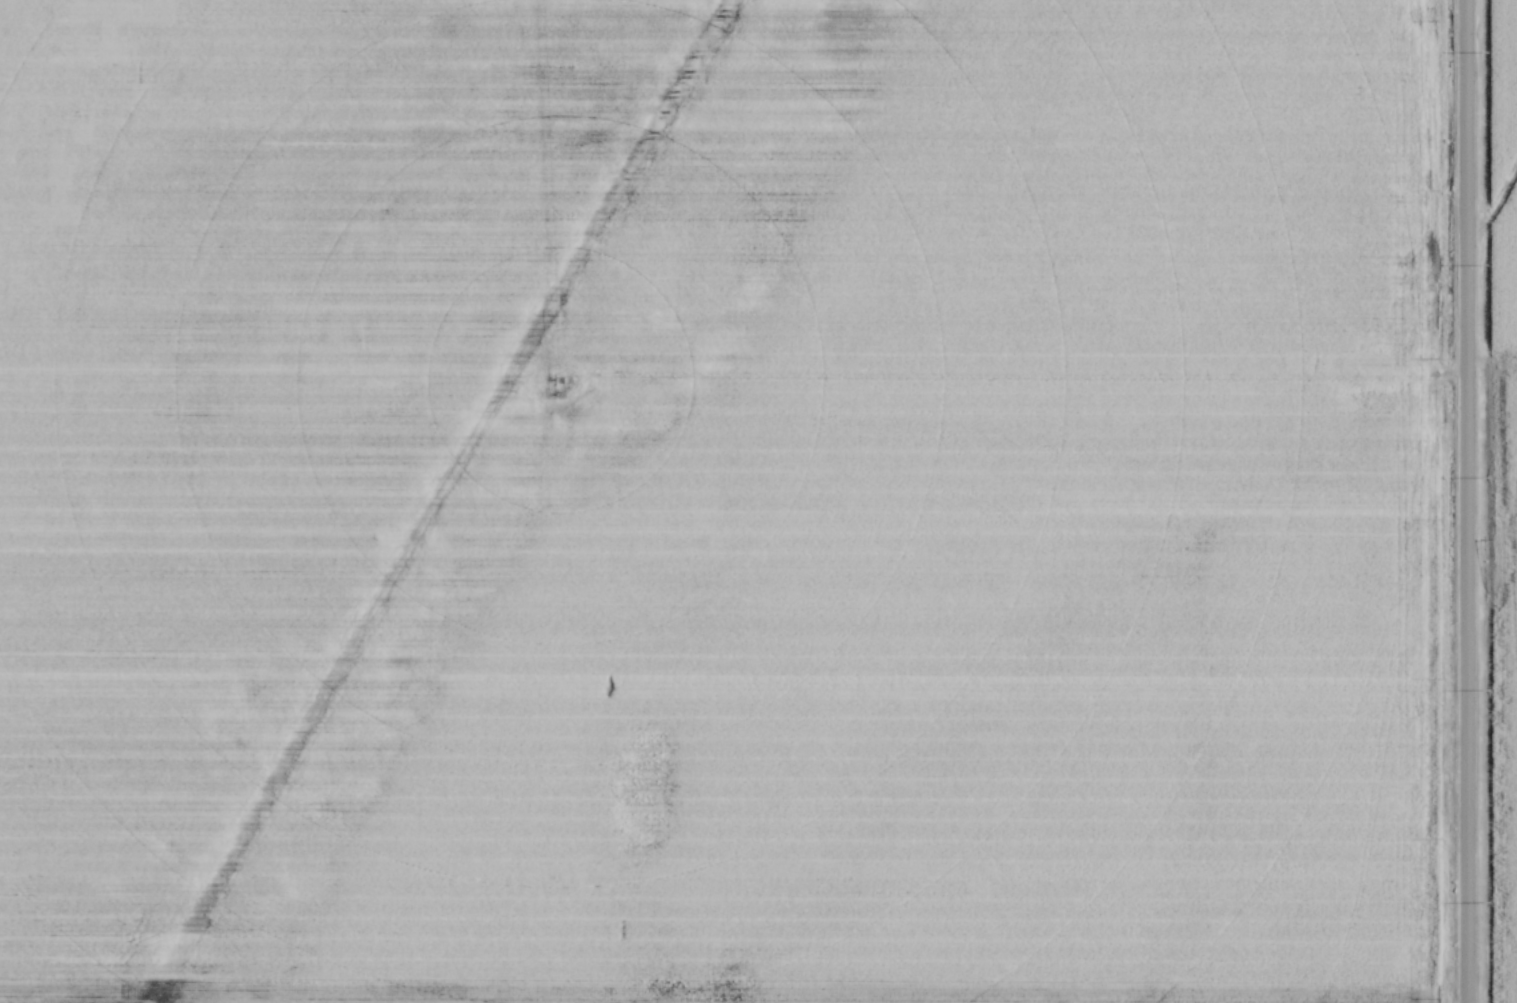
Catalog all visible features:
road: (1462, 501)

